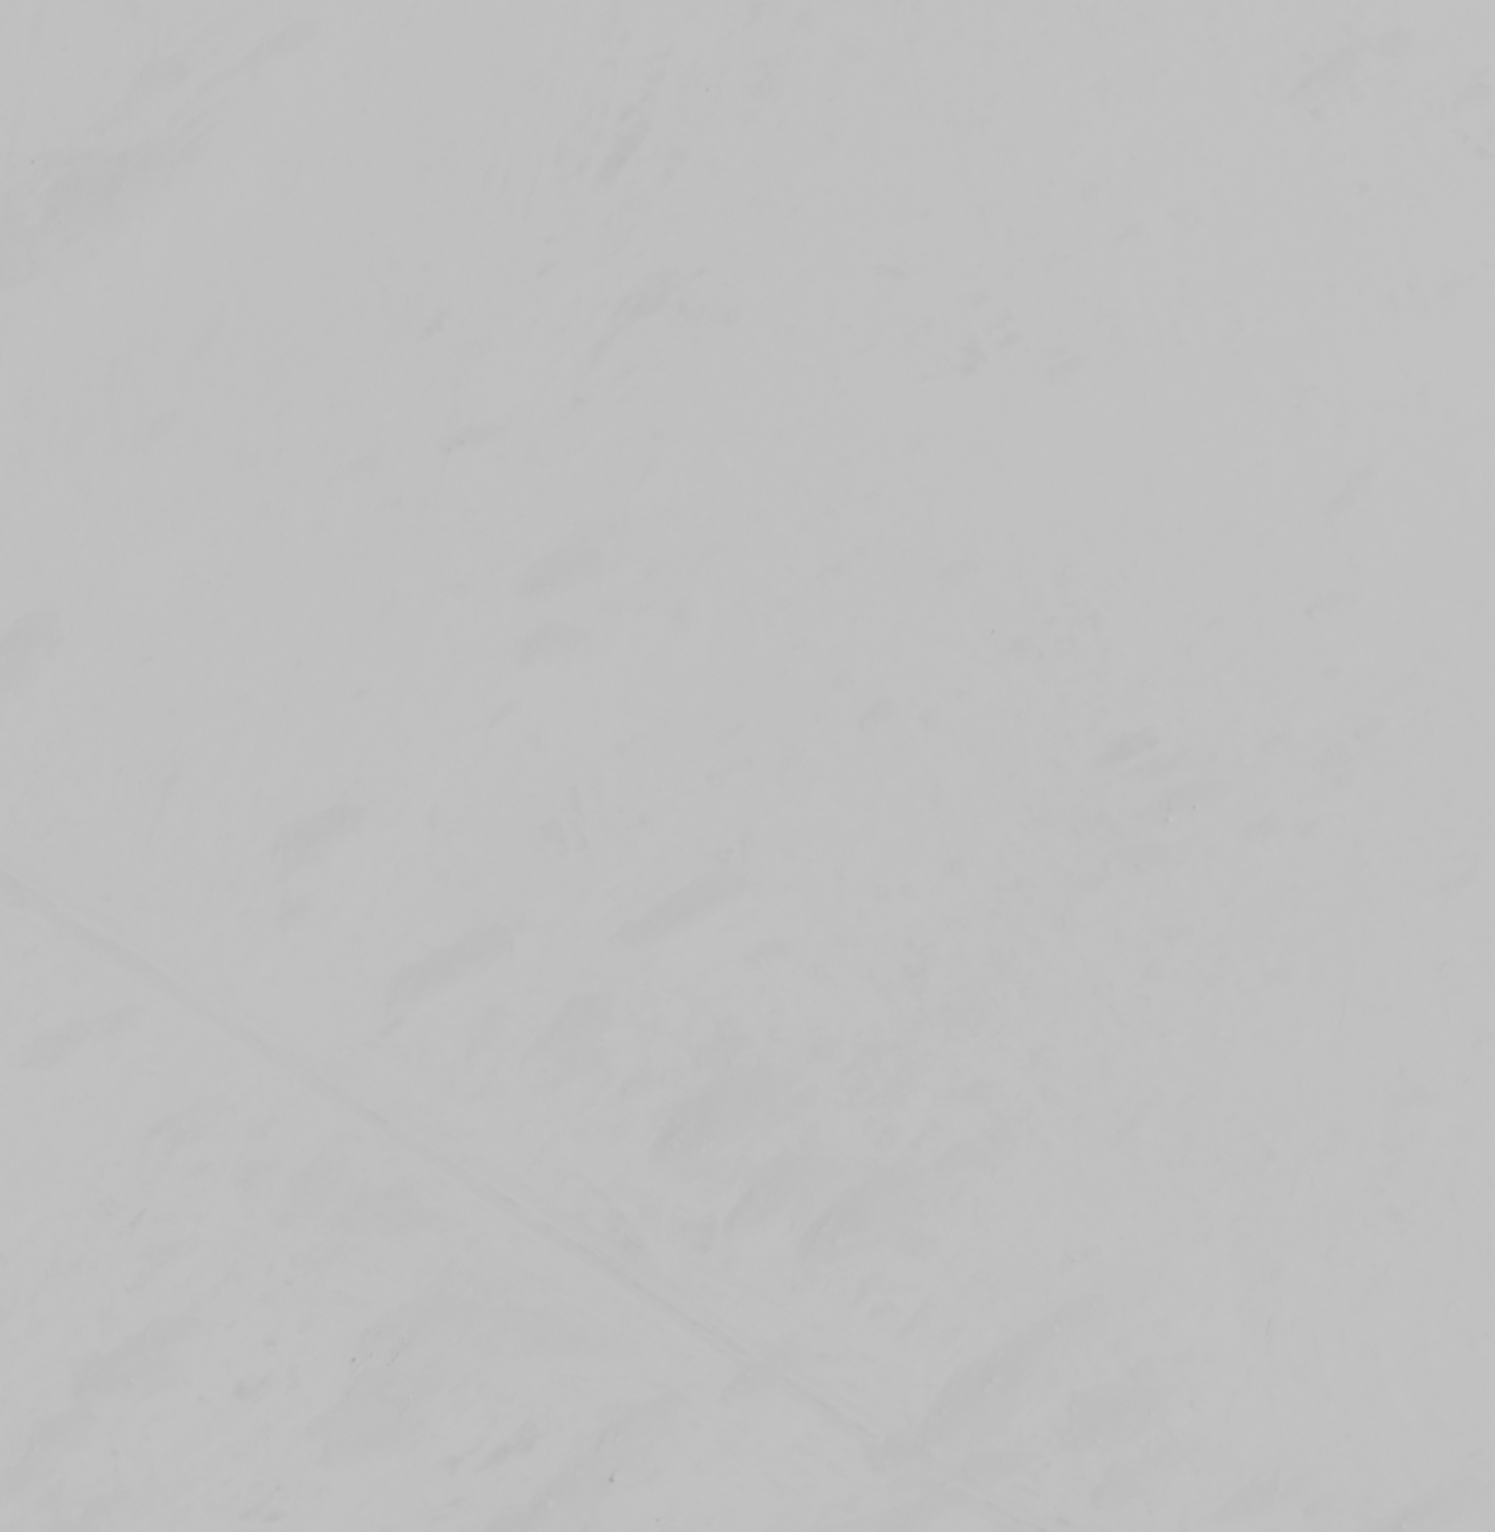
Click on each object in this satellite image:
building: (1482, 879)
building: (1236, 926)
road: (1356, 1052)
building: (1463, 1082)

